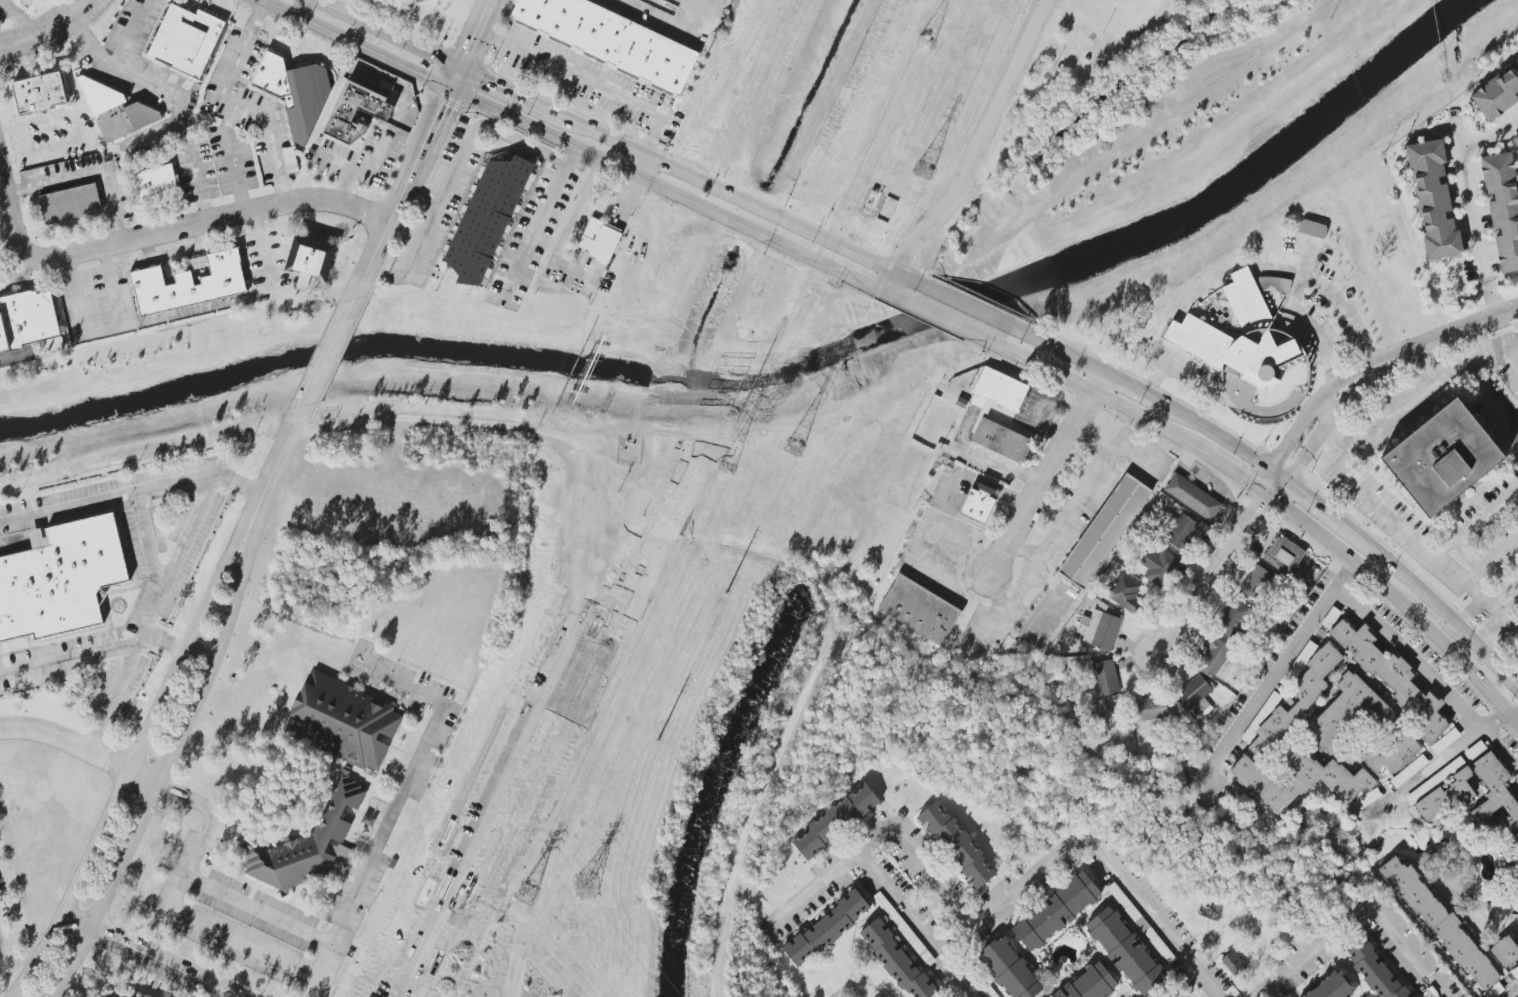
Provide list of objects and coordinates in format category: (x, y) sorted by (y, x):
building: (419, 0)
building: (26, 1)
road: (696, 6)
road: (657, 18)
road: (705, 18)
road: (305, 19)
road: (54, 31)
road: (476, 33)
road: (385, 34)
road: (138, 36)
building: (186, 40)
building: (607, 41)
power tower: (926, 41)
traffic signals: (462, 68)
road: (117, 70)
road: (588, 80)
road: (496, 84)
traffic signals: (452, 89)
building: (295, 92)
building: (39, 93)
building: (1497, 93)
road: (235, 107)
building: (115, 110)
building: (356, 112)
road: (76, 132)
road: (1487, 136)
building: (1516, 140)
road: (563, 141)
road: (980, 142)
road: (459, 158)
road: (232, 160)
building: (290, 160)
power tower: (922, 172)
road: (91, 175)
road: (199, 182)
road: (407, 182)
building: (154, 183)
road: (730, 196)
road: (420, 200)
building: (1434, 201)
building: (70, 204)
road: (1470, 206)
building: (1503, 206)
building: (487, 219)
road: (538, 227)
building: (1312, 229)
road: (164, 233)
building: (599, 239)
building: (309, 259)
road: (830, 266)
road: (886, 280)
road: (1302, 280)
building: (189, 285)
road: (890, 295)
road: (1494, 299)
building: (1247, 302)
road: (972, 308)
road: (938, 317)
building: (27, 319)
road: (102, 332)
road: (1463, 333)
building: (1199, 340)
road: (1058, 351)
road: (327, 352)
building: (1259, 359)
road: (1510, 359)
road: (1437, 361)
road: (1130, 387)
building: (1001, 389)
road: (1091, 389)
road: (1221, 395)
road: (1322, 395)
building: (1517, 399)
road: (1491, 402)
road: (1338, 412)
road: (1322, 413)
road: (437, 419)
road: (1219, 437)
building: (1001, 440)
power tower: (792, 449)
road: (280, 454)
building: (1442, 458)
power tower: (727, 466)
road: (1234, 474)
road: (1045, 475)
road: (1345, 476)
road: (133, 486)
building: (1192, 497)
road: (1074, 500)
road: (1310, 500)
building: (978, 503)
road: (1485, 514)
building: (1105, 531)
building: (1182, 532)
road: (146, 536)
building: (1284, 555)
road: (1491, 561)
road: (1216, 565)
building: (1162, 568)
building: (60, 579)
building: (1256, 584)
building: (1125, 593)
road: (1485, 597)
road: (1398, 602)
road: (1433, 603)
building: (919, 610)
road: (153, 612)
building: (1233, 618)
road: (1435, 619)
road: (1494, 620)
building: (1101, 627)
road: (93, 649)
building: (1214, 654)
road: (1275, 671)
road: (1430, 673)
building: (1106, 678)
building: (1394, 680)
building: (1193, 696)
building: (1296, 698)
building: (1150, 709)
building: (1102, 713)
building: (1348, 715)
building: (1445, 741)
road: (81, 746)
road: (139, 751)
road: (170, 756)
building: (1390, 757)
road: (1444, 759)
building: (1409, 771)
building: (1298, 778)
building: (344, 779)
building: (1492, 790)
building: (1446, 796)
road: (194, 800)
building: (835, 820)
road: (876, 839)
building: (958, 844)
road: (1094, 847)
building: (1516, 883)
power tower: (586, 887)
power tower: (528, 896)
road: (348, 903)
building: (1055, 911)
building: (1134, 914)
road: (1360, 914)
building: (1440, 922)
road: (918, 924)
building: (827, 927)
building: (902, 927)
road: (224, 936)
building: (1126, 951)
building: (1505, 951)
road: (148, 957)
building: (897, 961)
building: (1234, 964)
building: (1373, 967)
road: (317, 969)
building: (1009, 970)
building: (1515, 973)
building: (1090, 983)
building: (1332, 987)
building: (990, 991)
road: (1513, 992)
building: (118, 996)

